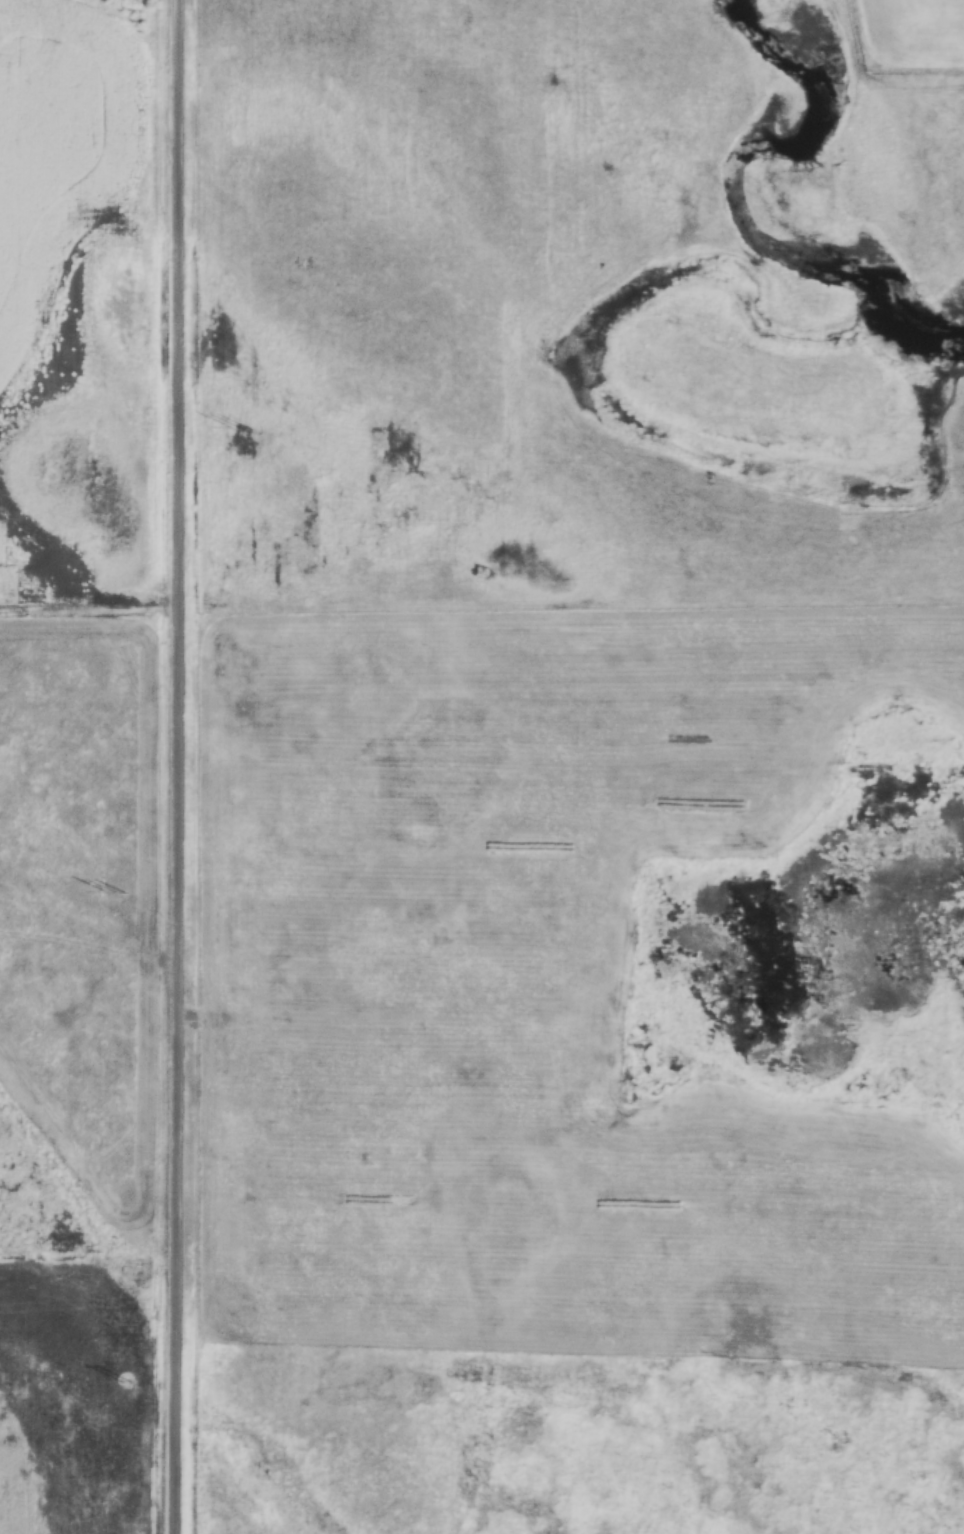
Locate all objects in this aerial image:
river: (730, 189)
power tower: (239, 429)
road: (172, 767)
power tower: (115, 894)
power tower: (124, 1383)

